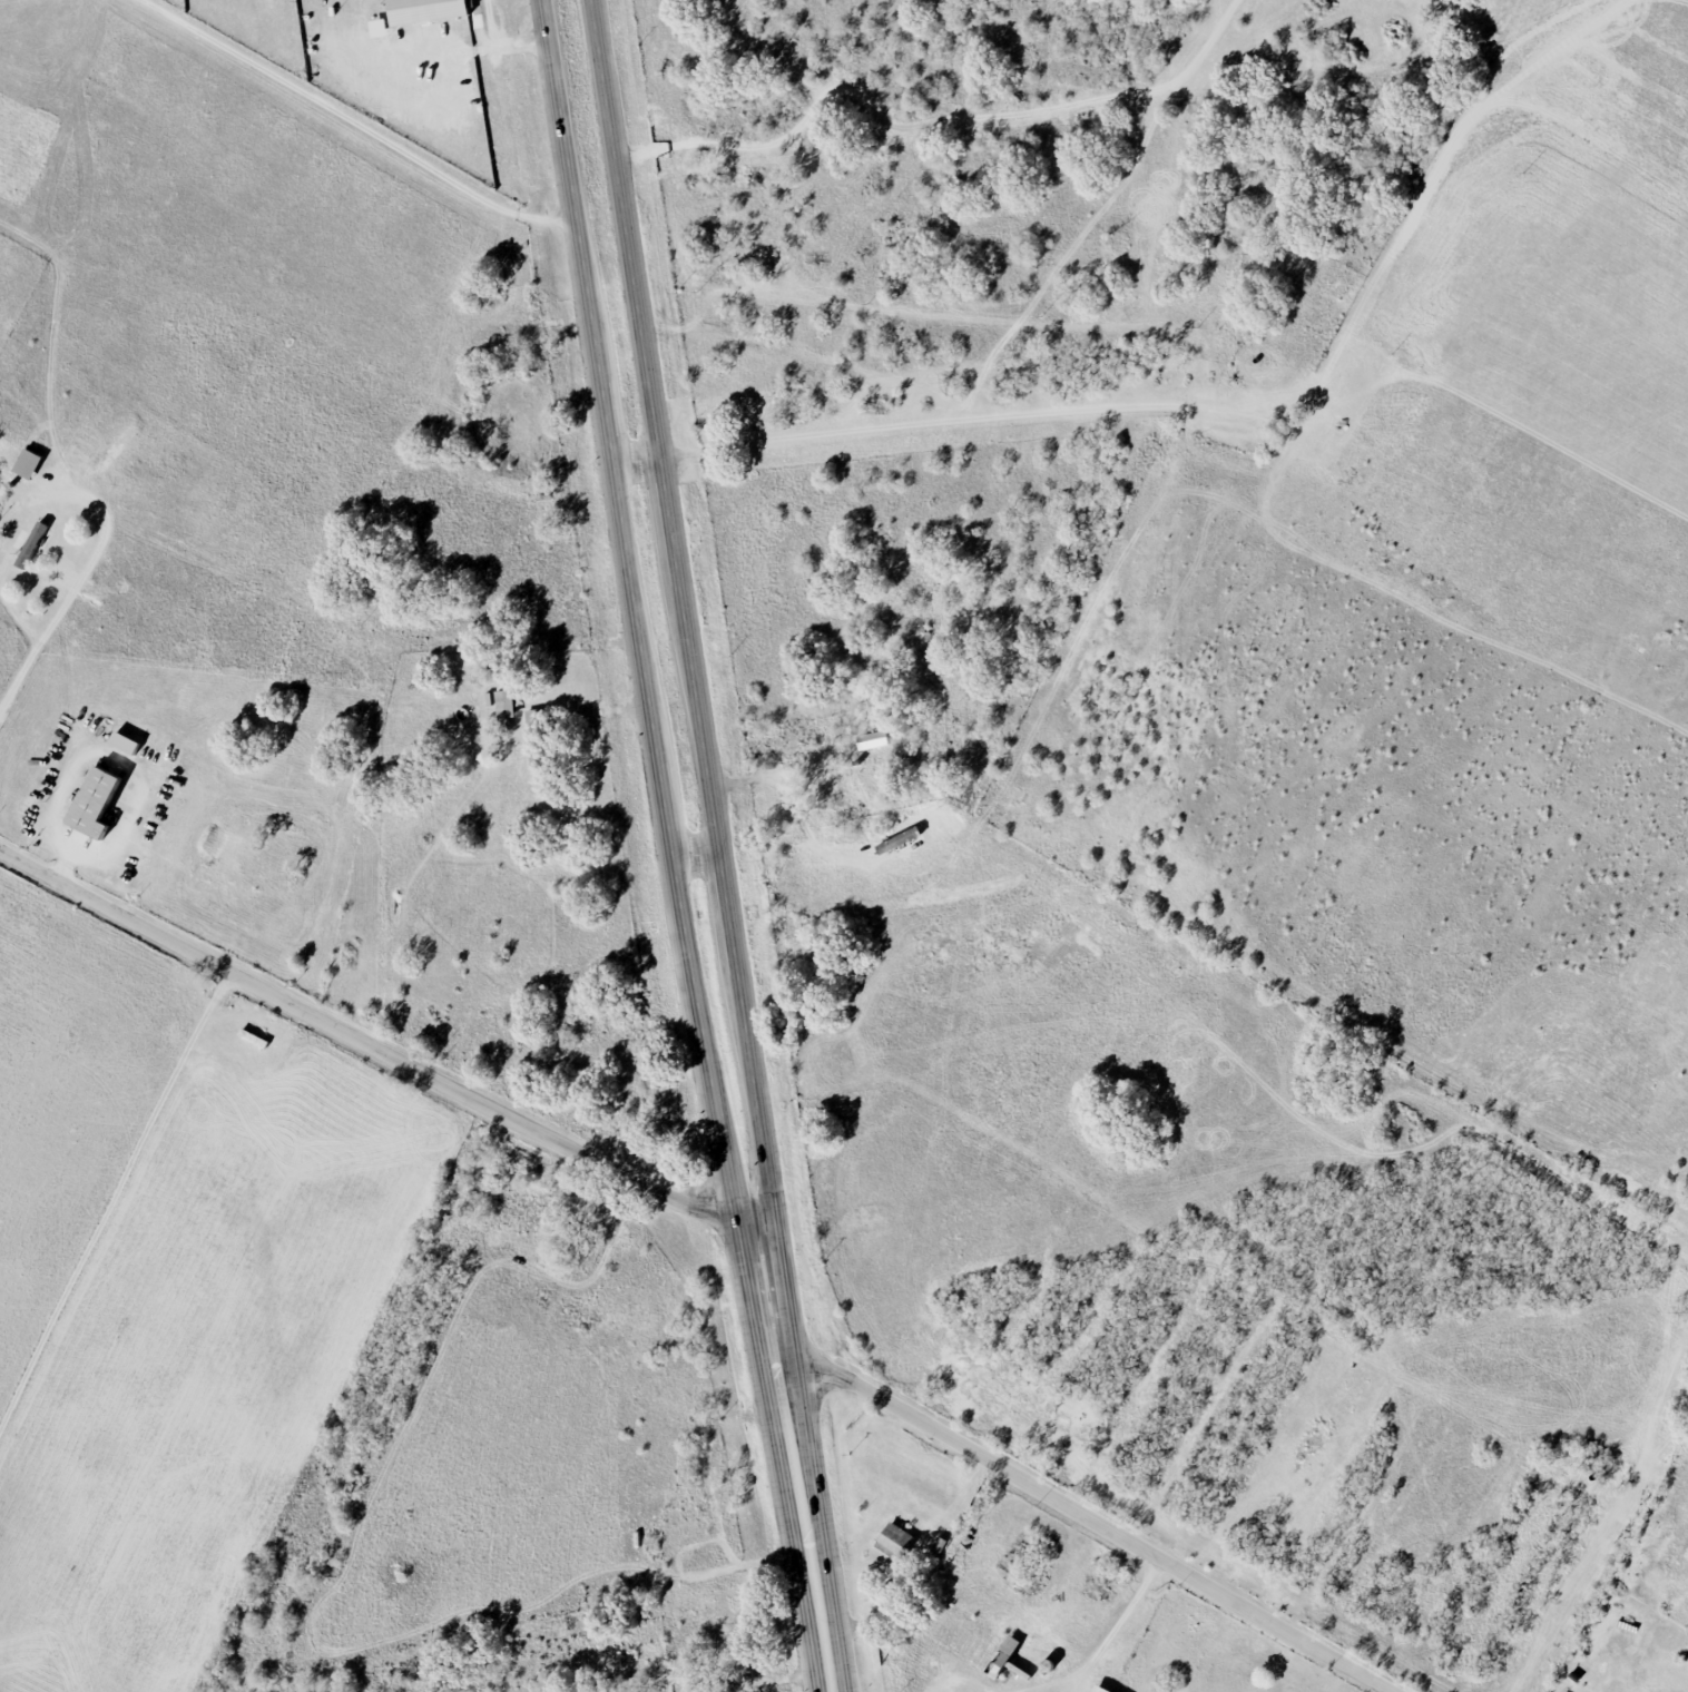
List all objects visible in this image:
building: (424, 10)
building: (377, 28)
road: (357, 122)
road: (52, 332)
building: (27, 463)
road: (638, 463)
building: (33, 542)
road: (86, 569)
road: (684, 616)
road: (638, 620)
building: (503, 704)
building: (872, 739)
road: (110, 752)
building: (92, 803)
road: (697, 858)
road: (376, 1047)
road: (802, 1462)
road: (1093, 1519)
building: (894, 1541)
road: (1115, 1625)
building: (1005, 1652)
road: (966, 1676)
road: (1049, 1680)
road: (719, 1684)
building: (1098, 1689)

